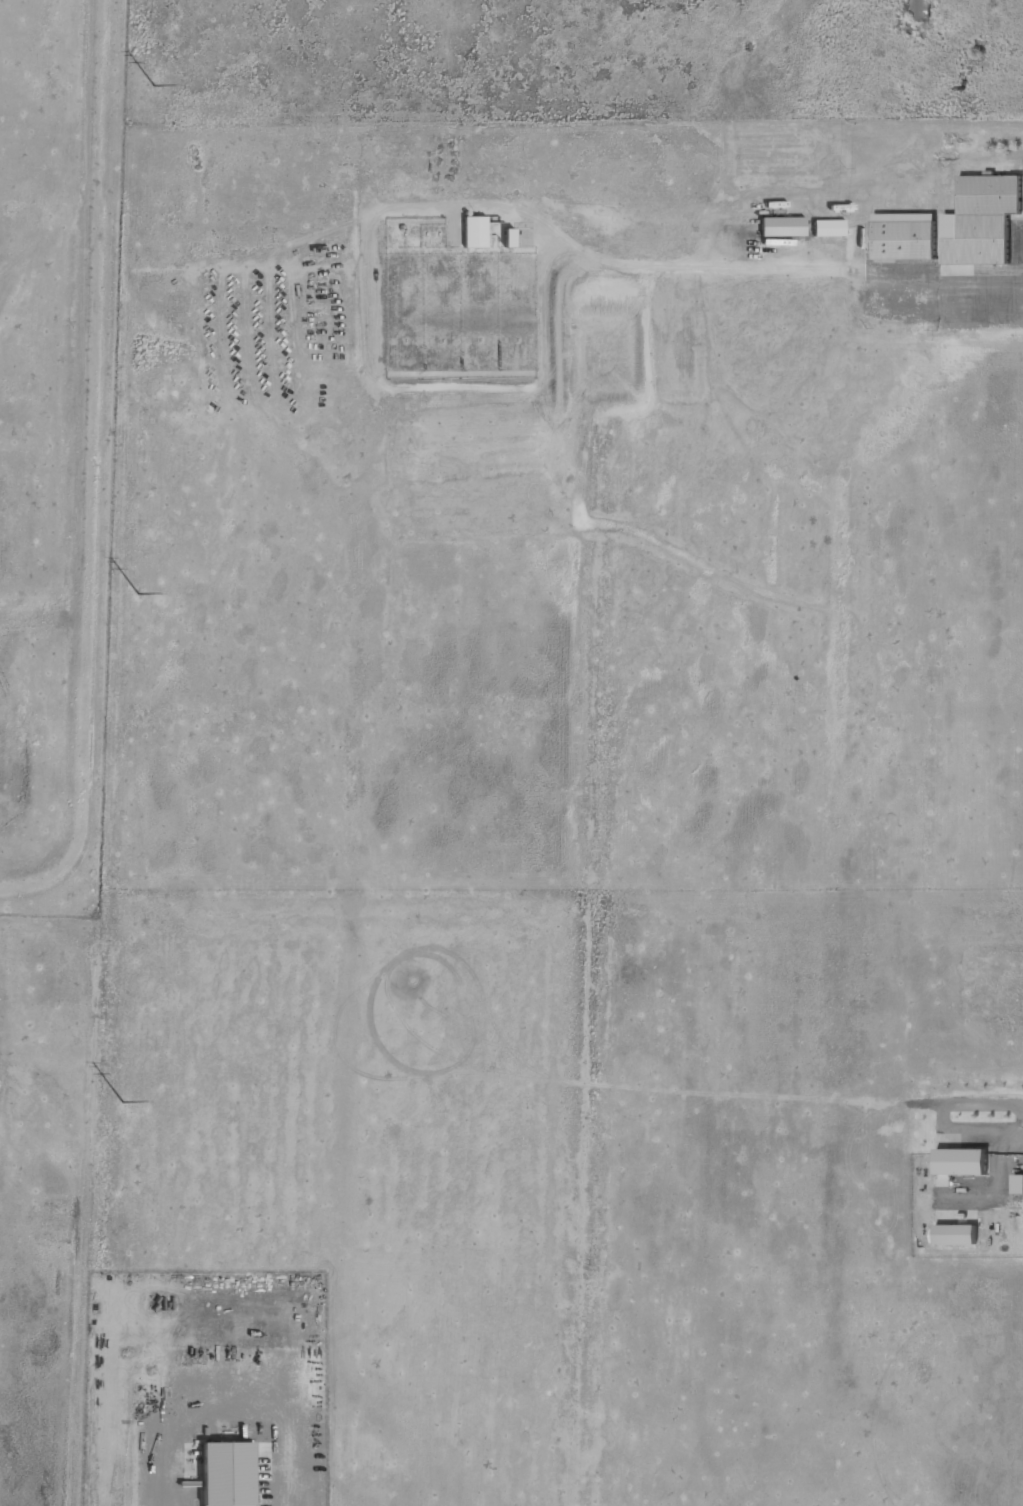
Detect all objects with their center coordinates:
building: (921, 10)
power tower: (155, 86)
building: (983, 220)
building: (783, 227)
building: (829, 229)
building: (475, 233)
building: (905, 236)
power tower: (138, 595)
power tower: (124, 1106)
building: (962, 1162)
building: (1018, 1184)
building: (956, 1235)
building: (228, 1474)

